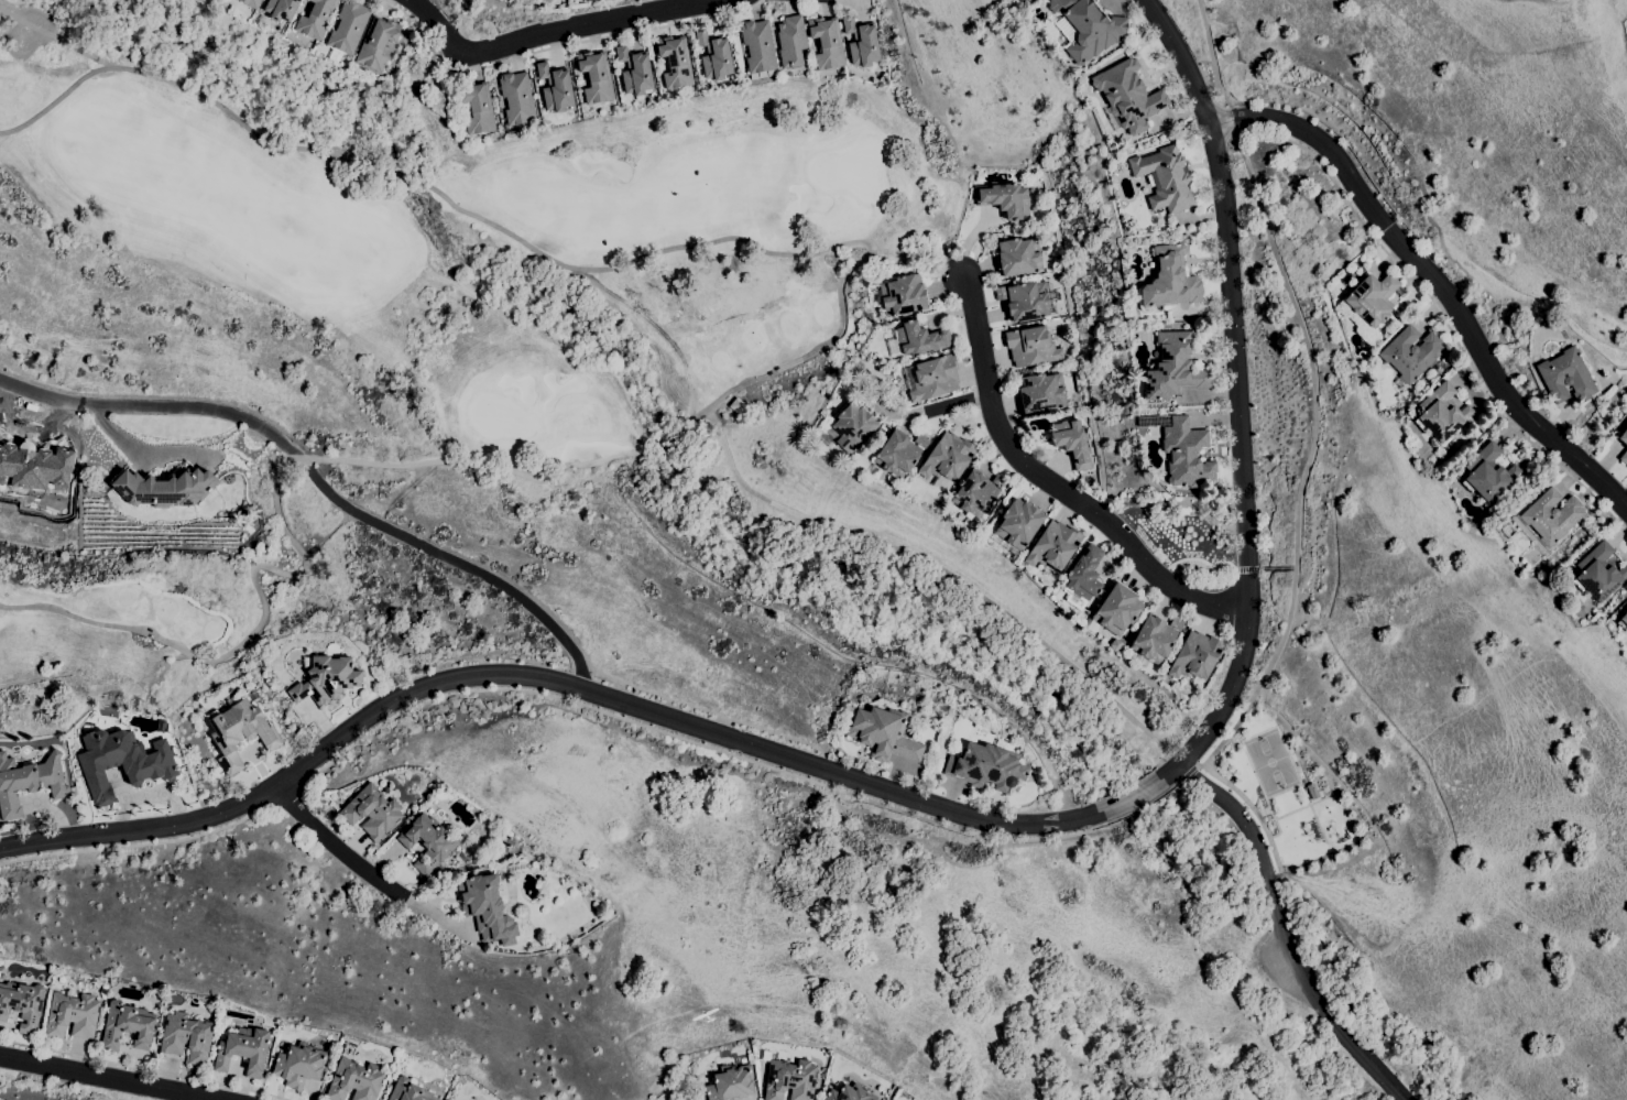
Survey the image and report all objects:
building: (546, 0)
building: (531, 2)
building: (251, 3)
building: (281, 9)
building: (316, 19)
building: (348, 26)
building: (1087, 28)
road: (548, 31)
building: (791, 41)
building: (376, 43)
road: (560, 43)
building: (827, 43)
building: (862, 44)
building: (757, 46)
road: (1210, 50)
building: (714, 56)
building: (675, 61)
building: (635, 72)
building: (596, 76)
building: (555, 87)
building: (1128, 95)
building: (516, 98)
building: (477, 107)
road: (1226, 120)
building: (1165, 178)
road: (1252, 179)
building: (1006, 199)
park: (469, 231)
road: (548, 255)
building: (1017, 257)
road: (1437, 277)
building: (1170, 279)
building: (902, 295)
building: (1372, 298)
building: (1024, 299)
road: (1235, 326)
building: (917, 339)
building: (1031, 346)
building: (1411, 352)
building: (1173, 368)
building: (1566, 375)
building: (931, 377)
building: (1041, 392)
building: (1441, 413)
park: (499, 417)
building: (851, 427)
road: (665, 434)
building: (1624, 436)
building: (921, 440)
building: (1072, 442)
road: (140, 450)
building: (1187, 454)
building: (897, 455)
road: (301, 457)
building: (1624, 457)
building: (947, 459)
road: (487, 464)
building: (33, 465)
road: (313, 469)
building: (1488, 472)
building: (1000, 481)
road: (1055, 483)
building: (164, 488)
building: (974, 494)
building: (1551, 515)
building: (1017, 525)
building: (1053, 545)
road: (1198, 559)
road: (1278, 568)
road: (944, 569)
road: (1248, 569)
building: (1598, 573)
building: (1083, 578)
building: (1115, 610)
building: (1623, 620)
park: (128, 627)
road: (247, 639)
building: (1155, 639)
building: (1195, 657)
road: (581, 676)
road: (544, 677)
building: (326, 679)
building: (239, 732)
road: (1206, 732)
road: (1255, 733)
building: (883, 734)
road: (697, 742)
building: (121, 761)
park: (1269, 761)
building: (986, 765)
road: (1189, 772)
building: (29, 782)
road: (1171, 785)
road: (1282, 791)
building: (1312, 791)
park: (1287, 792)
road: (292, 796)
road: (1132, 797)
road: (1140, 805)
road: (1252, 808)
road: (1311, 810)
building: (372, 812)
road: (1263, 812)
road: (1270, 812)
road: (1285, 814)
building: (428, 842)
road: (141, 843)
road: (340, 847)
building: (487, 908)
road: (1285, 933)
building: (22, 1004)
building: (72, 1015)
building: (127, 1025)
building: (186, 1037)
building: (243, 1050)
building: (299, 1065)
road: (142, 1068)
road: (111, 1077)
building: (789, 1079)
building: (354, 1080)
building: (731, 1082)
building: (408, 1091)
building: (849, 1093)
park: (669, 1094)

